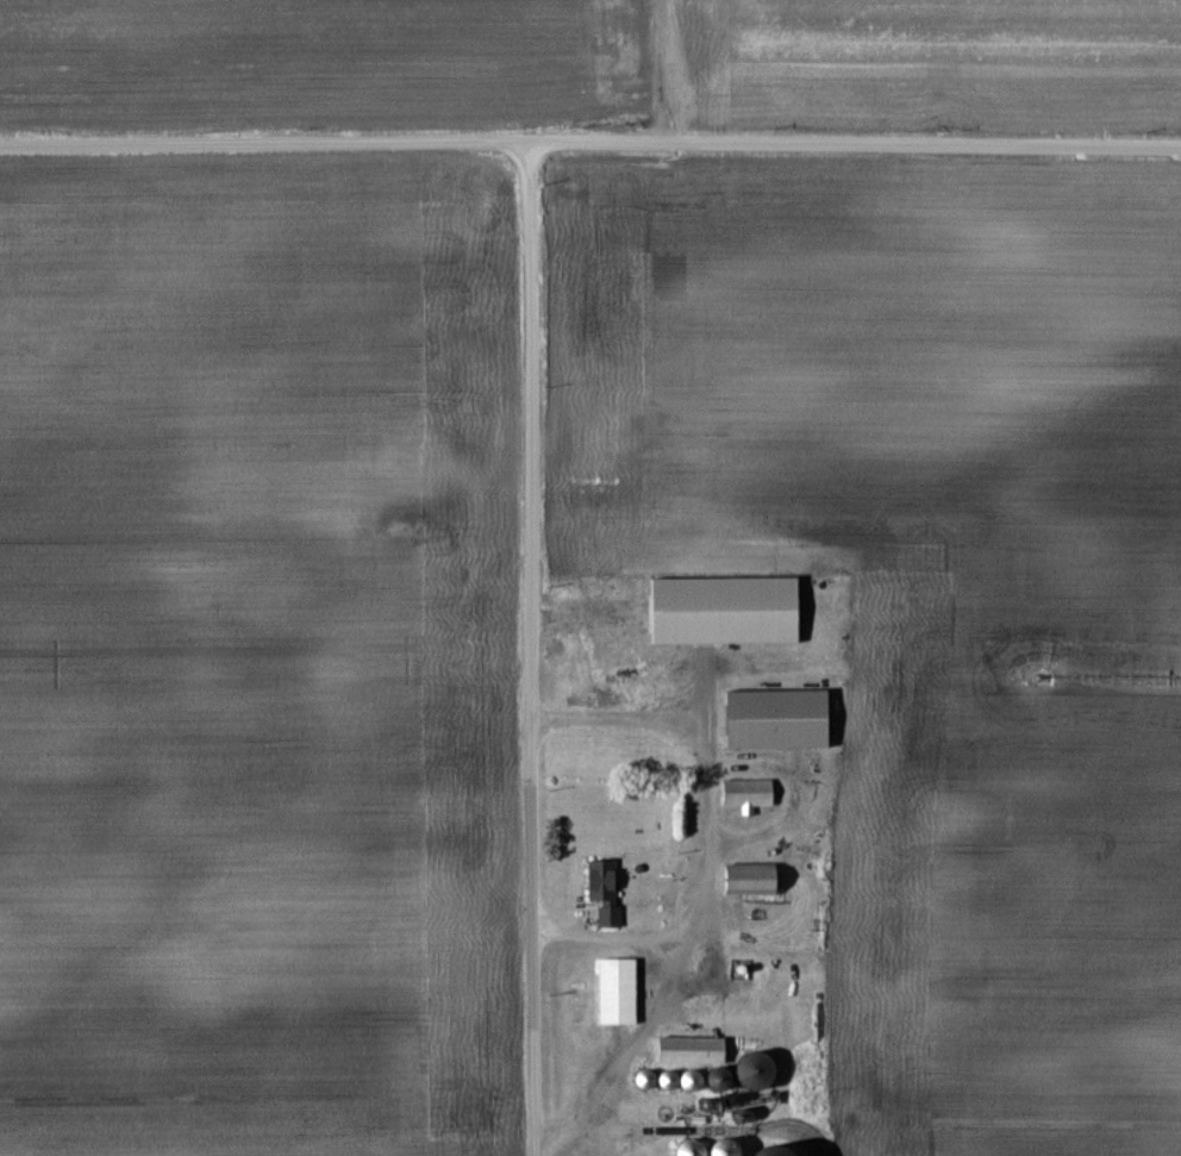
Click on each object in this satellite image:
road: (656, 70)
road: (590, 142)
road: (530, 649)
building: (774, 720)
building: (745, 794)
building: (745, 880)
building: (600, 881)
building: (607, 917)
road: (601, 925)
road: (663, 967)
building: (614, 992)
building: (688, 1051)
building: (751, 1071)

